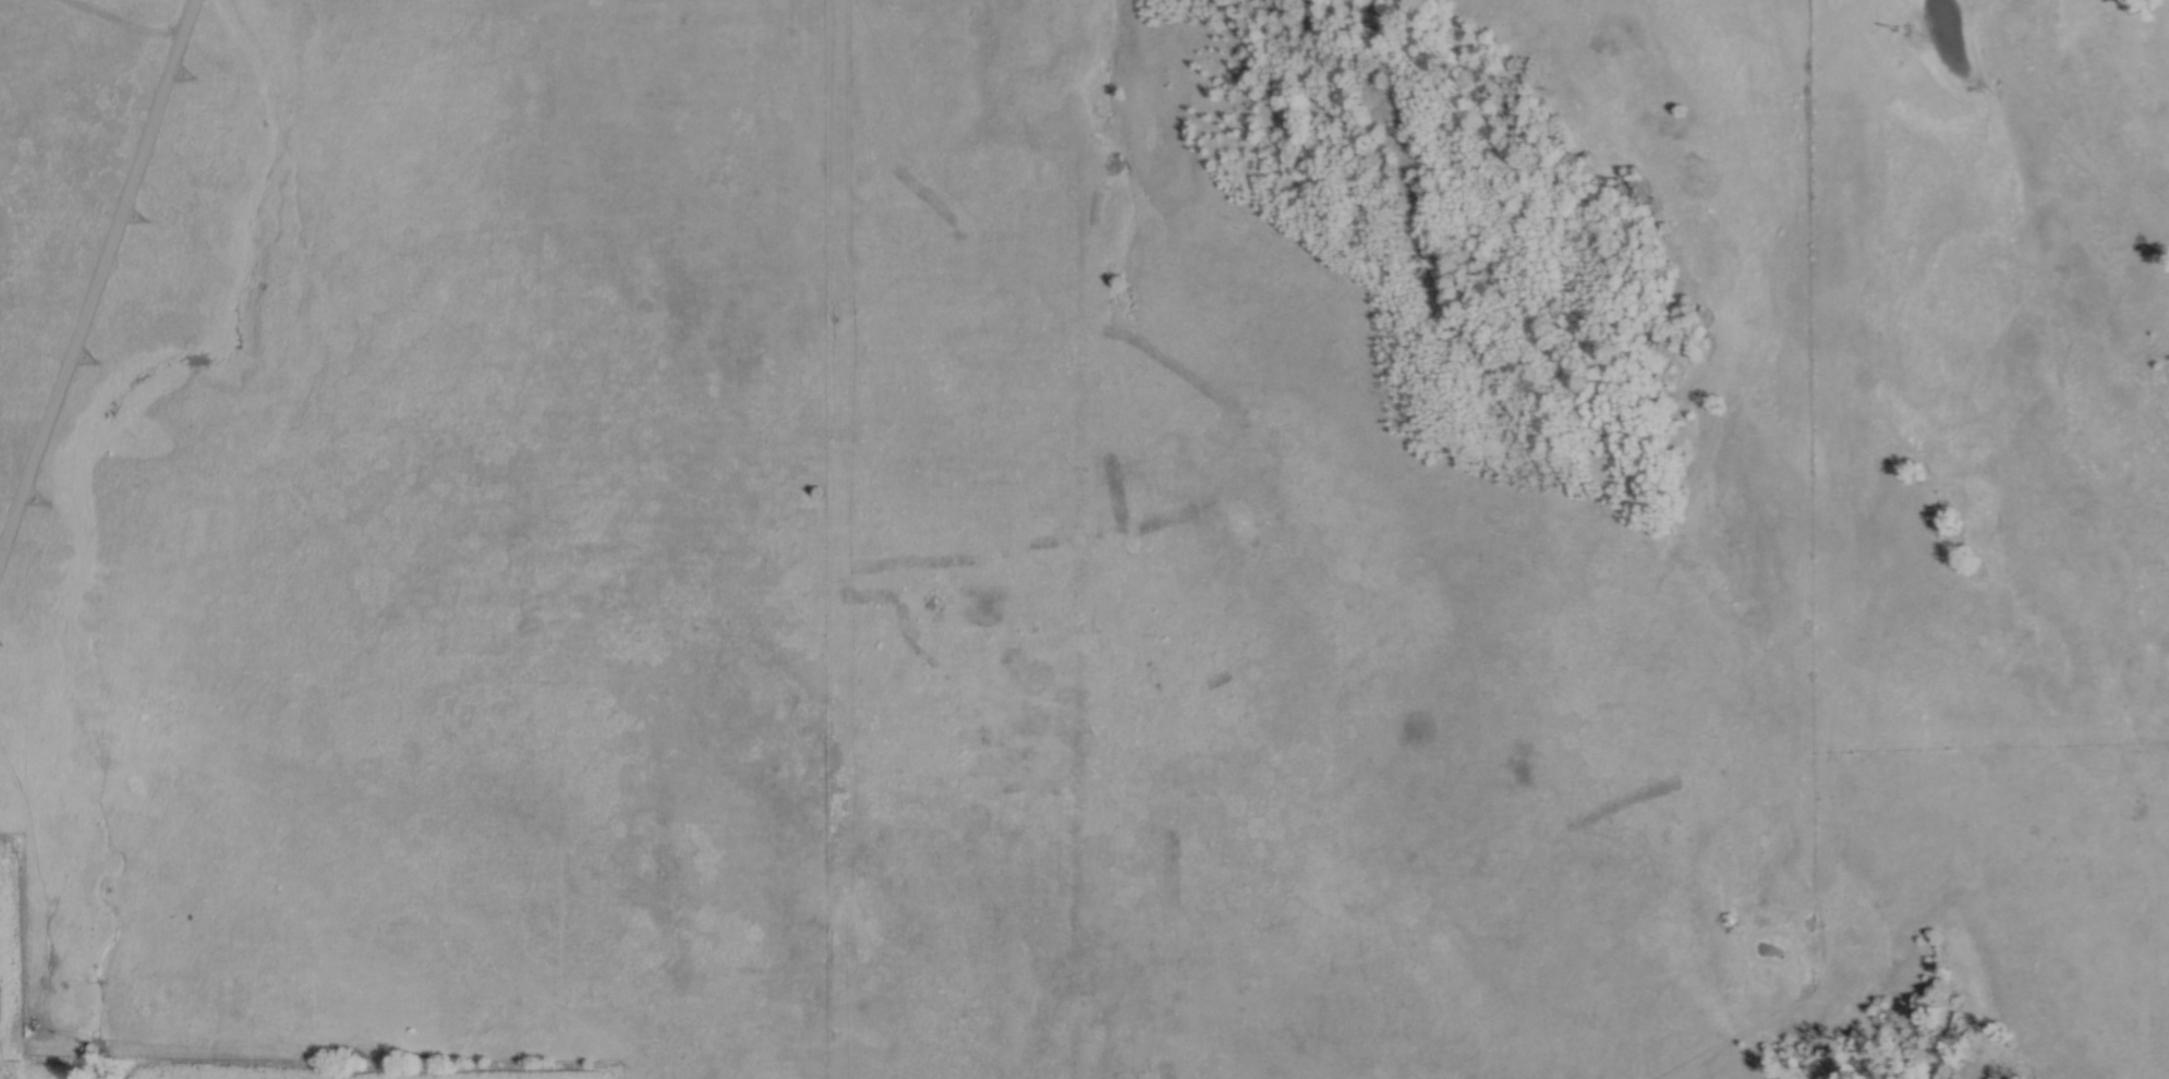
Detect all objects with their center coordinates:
airport: (416, 539)

